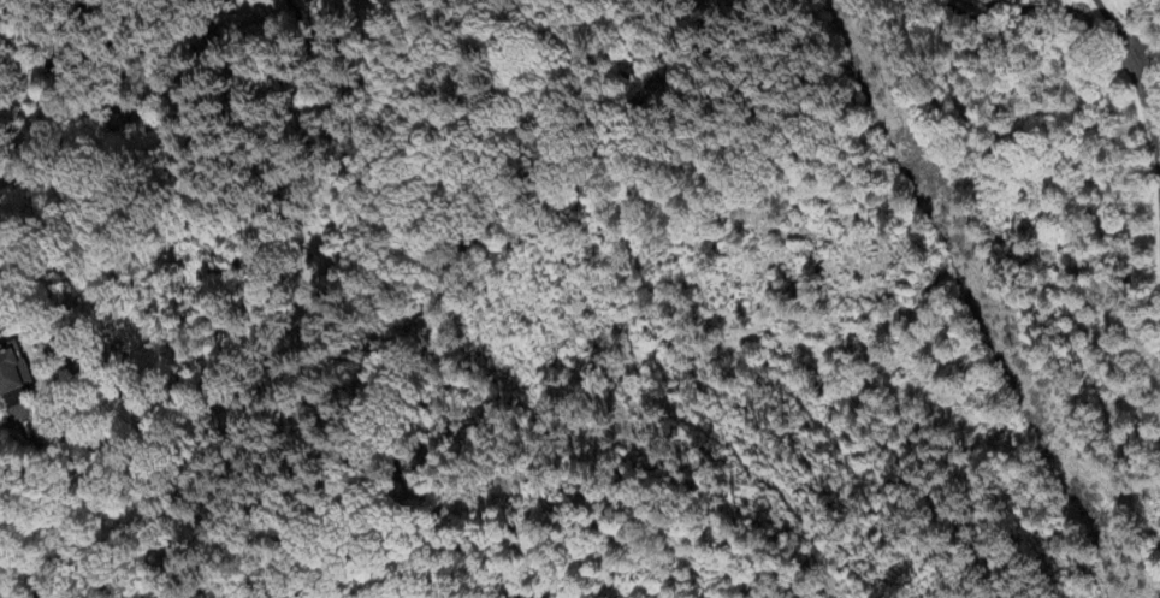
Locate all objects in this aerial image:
road: (1050, 6)
road: (966, 16)
road: (1105, 18)
road: (347, 25)
road: (59, 107)
road: (1146, 109)
building: (12, 368)

